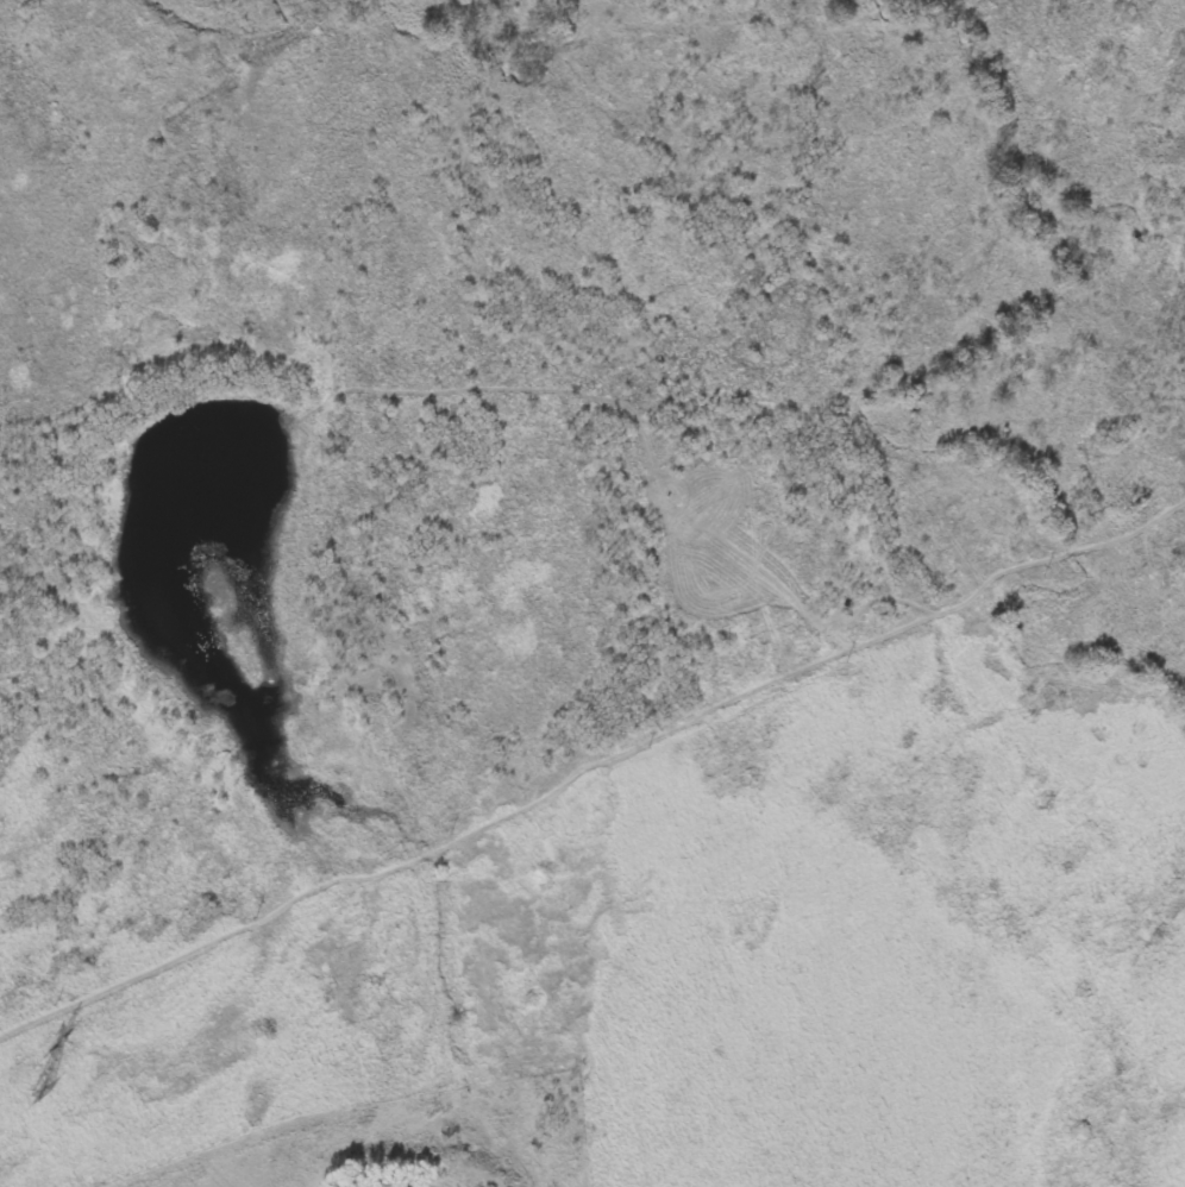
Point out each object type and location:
power tower: (39, 1087)

